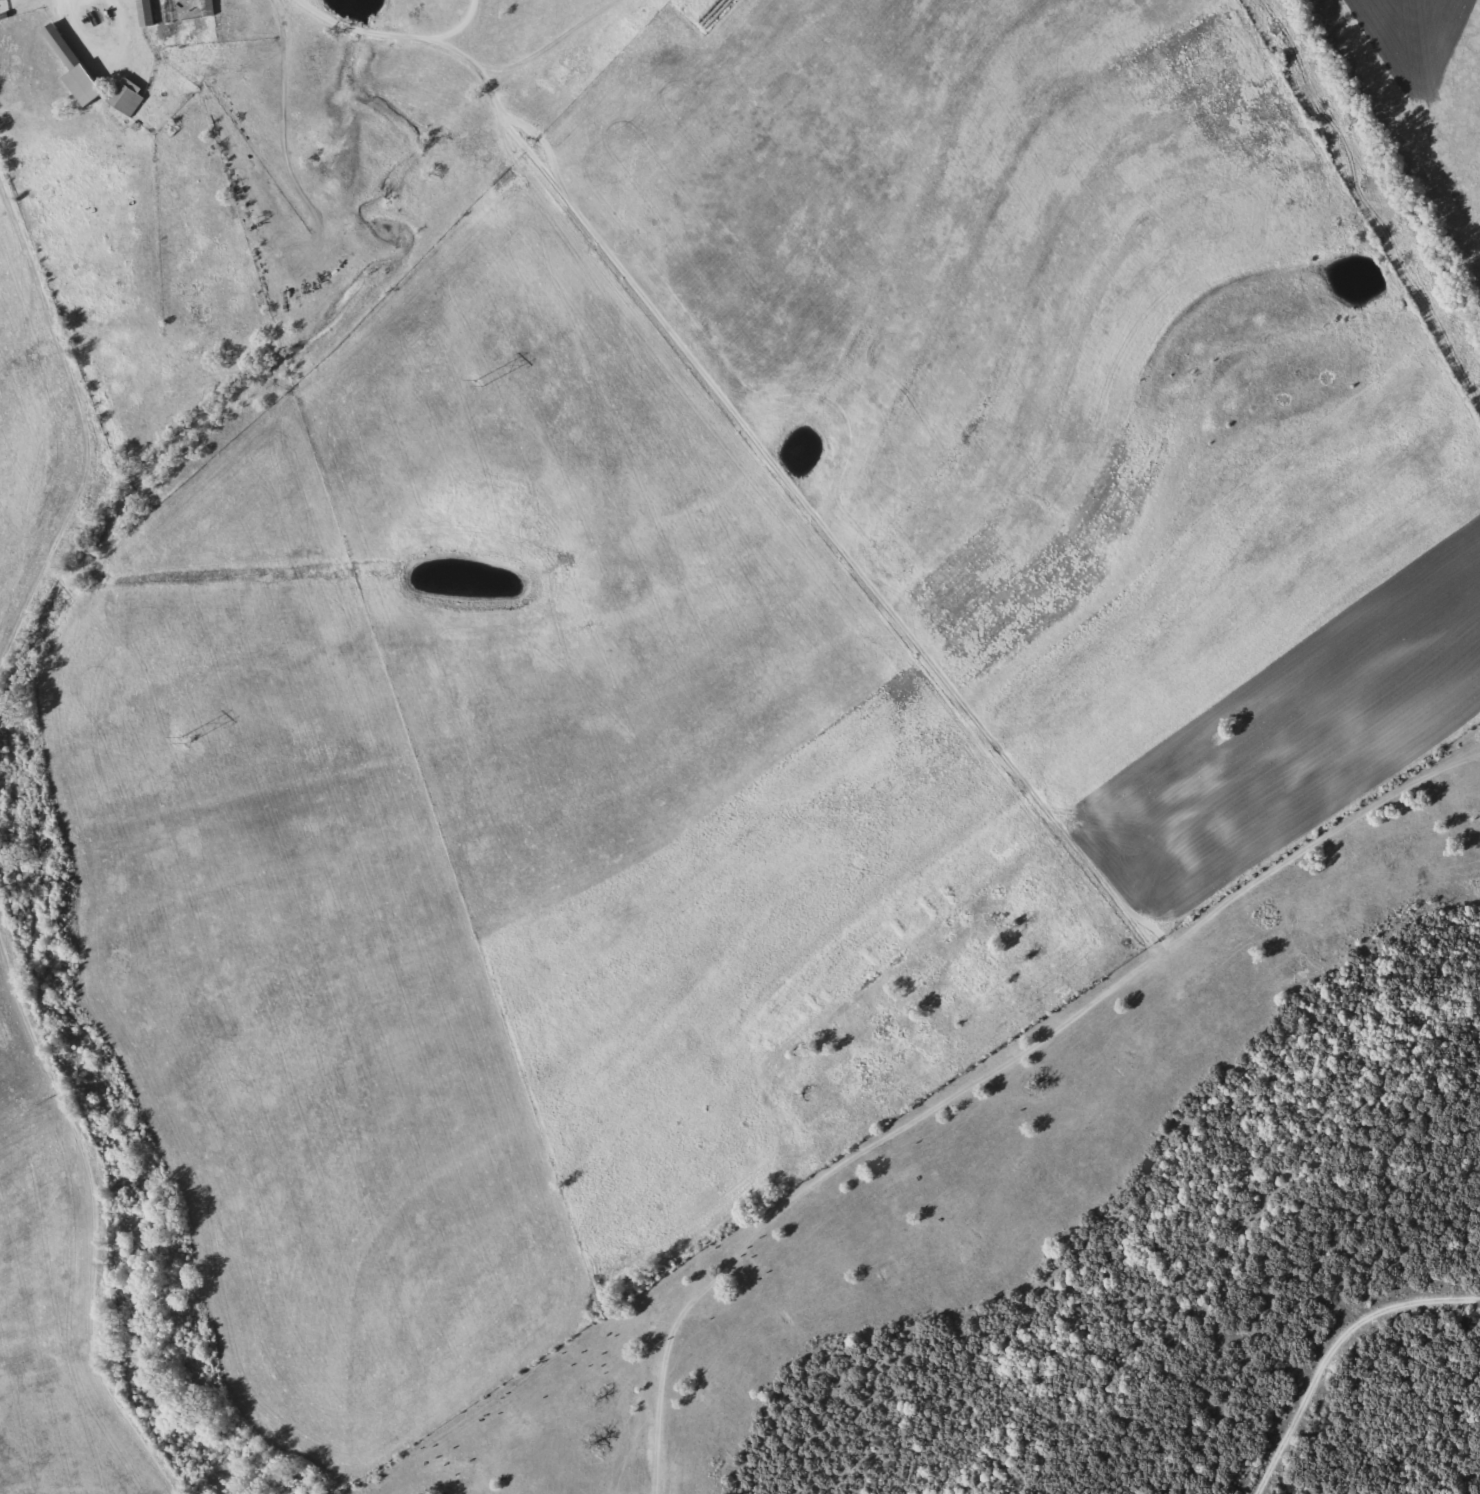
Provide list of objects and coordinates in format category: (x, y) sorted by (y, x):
building: (207, 6)
building: (143, 11)
building: (70, 65)
building: (124, 96)
power tower: (480, 381)
power tower: (184, 738)
road: (971, 1067)

